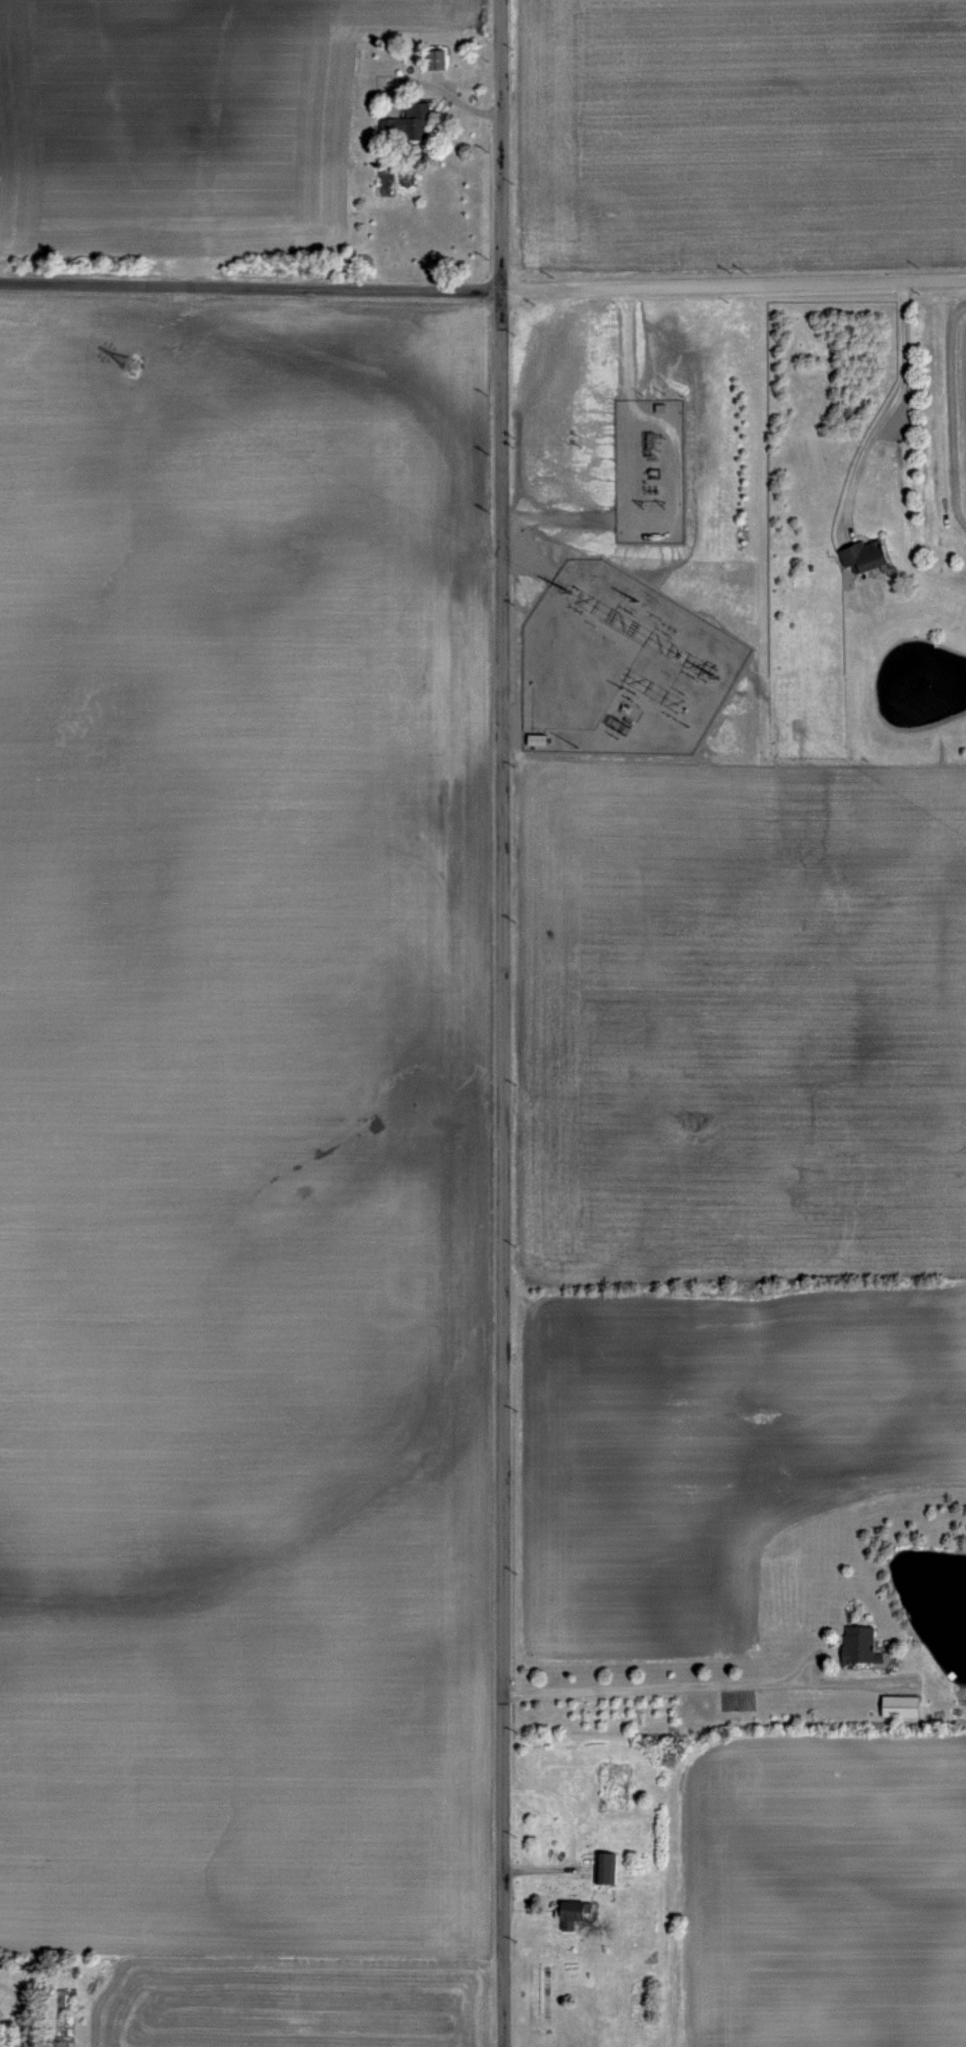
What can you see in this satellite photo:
building: (432, 58)
building: (396, 80)
building: (404, 122)
road: (483, 288)
power tower: (131, 366)
road: (895, 400)
power substation: (648, 471)
power tower: (655, 503)
building: (860, 554)
power tower: (571, 589)
power tower: (639, 598)
power substation: (617, 665)
power tower: (716, 675)
road: (498, 1023)
building: (857, 1642)
road: (685, 1684)
building: (898, 1704)
building: (602, 1866)
building: (568, 1913)

